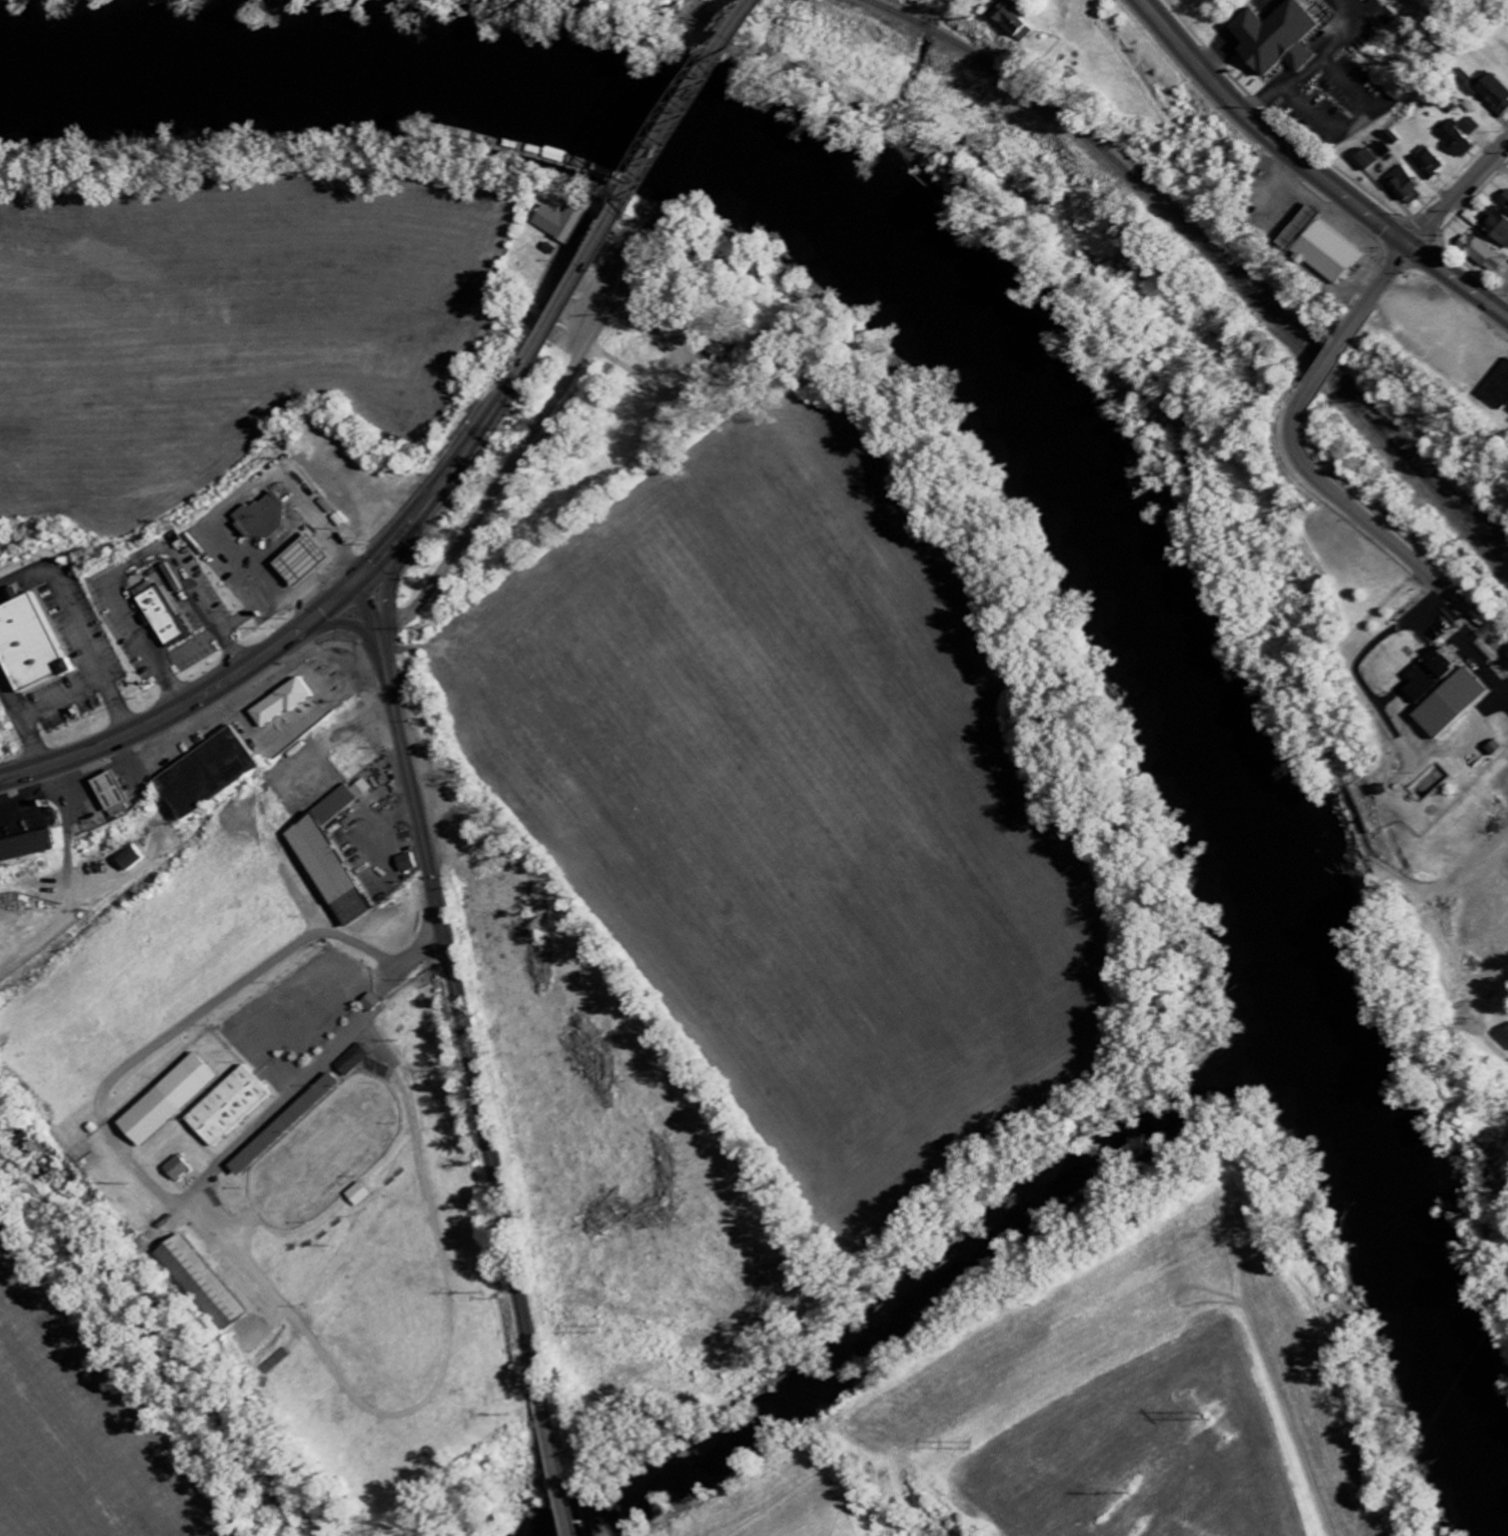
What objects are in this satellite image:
building: (1022, 20)
road: (1243, 34)
building: (1279, 39)
road: (1337, 70)
building: (1493, 94)
building: (1471, 128)
building: (1456, 140)
building: (1365, 161)
building: (1428, 165)
road: (1317, 172)
building: (1404, 186)
road: (656, 195)
road: (1459, 197)
building: (1504, 201)
building: (571, 223)
building: (1495, 228)
building: (1321, 248)
railway: (1214, 249)
building: (1482, 254)
road: (1379, 292)
road: (1330, 368)
building: (1498, 389)
river: (1056, 412)
road: (539, 422)
road: (471, 451)
building: (272, 518)
road: (1385, 532)
road: (392, 547)
building: (312, 560)
road: (360, 580)
road: (390, 599)
road: (319, 615)
road: (366, 615)
building: (171, 617)
road: (380, 626)
road: (334, 627)
building: (38, 644)
road: (382, 663)
building: (1432, 677)
building: (289, 703)
road: (151, 729)
building: (1497, 748)
building: (214, 774)
building: (119, 791)
building: (341, 805)
building: (29, 850)
building: (131, 859)
building: (412, 863)
building: (336, 872)
building: (1, 947)
building: (373, 1003)
road: (210, 1006)
road: (463, 1035)
building: (1505, 1037)
building: (353, 1060)
building: (173, 1101)
building: (232, 1108)
building: (290, 1125)
building: (182, 1169)
building: (360, 1195)
building: (210, 1284)
road: (553, 1463)

